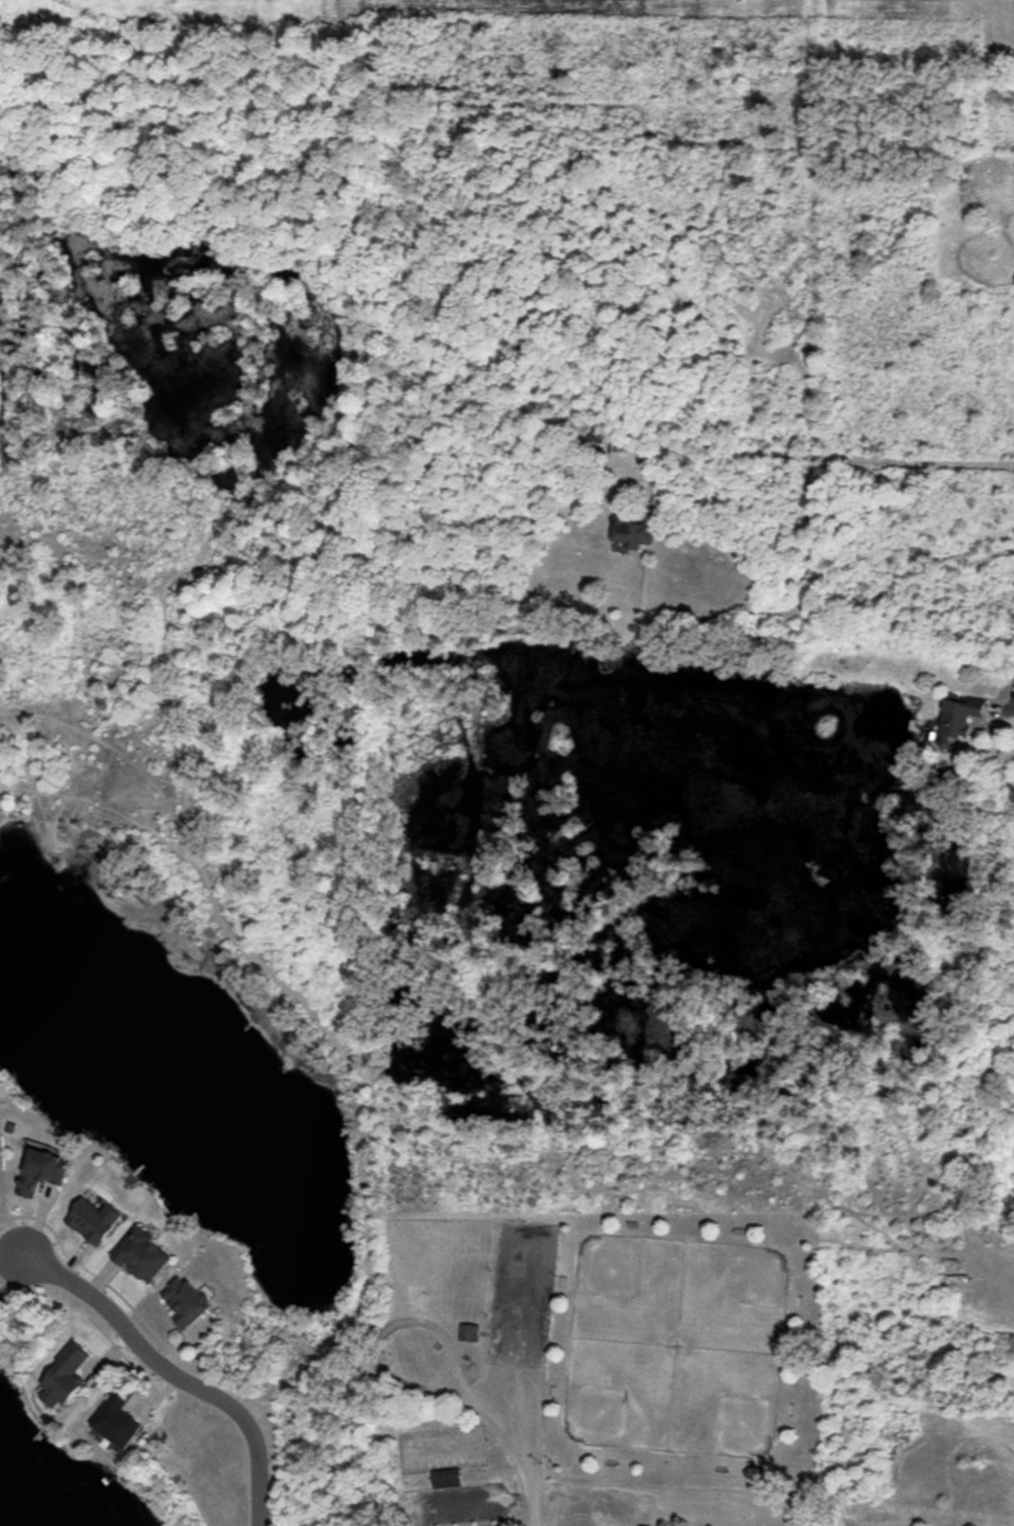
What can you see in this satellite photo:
road: (811, 463)
building: (631, 529)
building: (960, 715)
building: (43, 1171)
building: (94, 1220)
building: (142, 1254)
building: (187, 1301)
building: (469, 1332)
park: (596, 1367)
road: (172, 1373)
building: (65, 1375)
building: (117, 1419)
road: (524, 1447)
building: (446, 1478)

